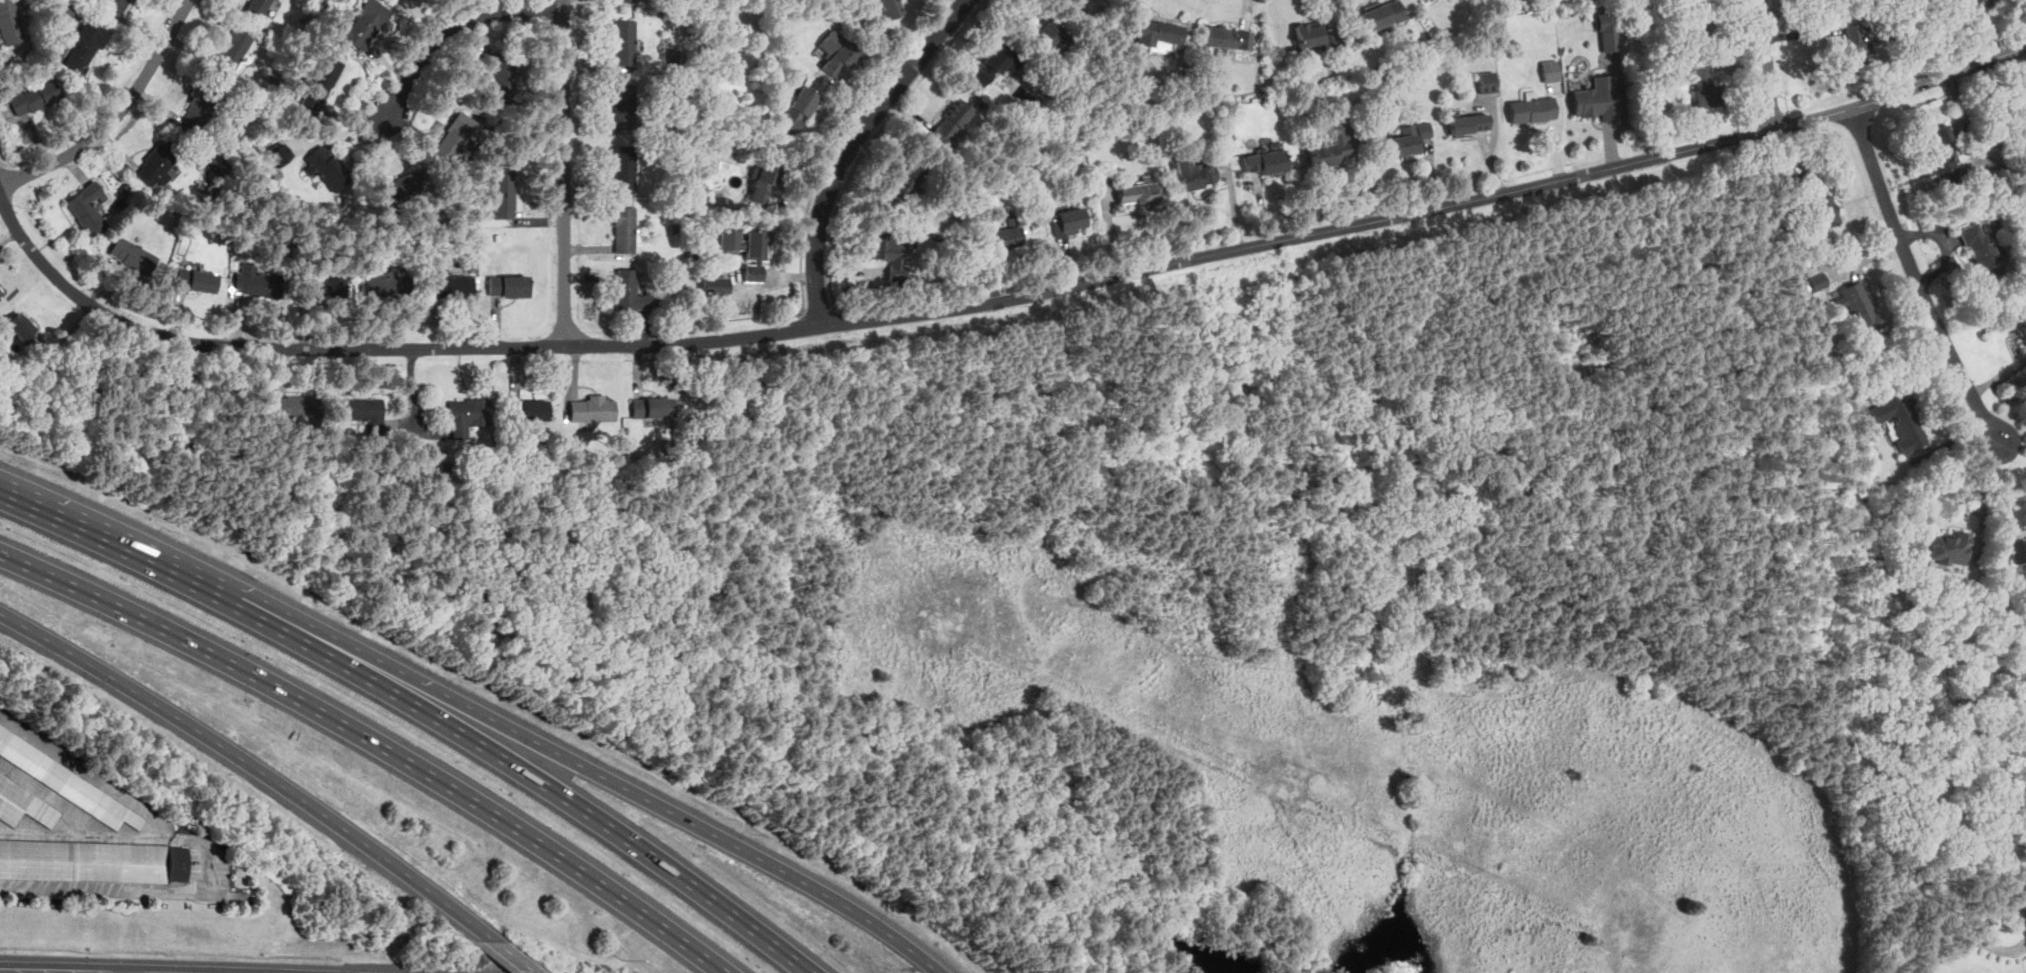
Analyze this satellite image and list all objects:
building: (624, 1)
building: (1833, 1)
building: (116, 4)
building: (257, 7)
building: (886, 7)
building: (64, 13)
building: (1381, 15)
building: (10, 22)
building: (1699, 22)
building: (365, 23)
road: (456, 28)
building: (1607, 30)
road: (1983, 30)
building: (1157, 32)
building: (1312, 33)
building: (1046, 34)
building: (1227, 37)
building: (624, 42)
building: (1854, 44)
building: (86, 46)
building: (232, 50)
building: (839, 58)
building: (993, 64)
road: (1766, 64)
building: (1549, 70)
building: (501, 74)
building: (1487, 81)
building: (320, 83)
building: (1703, 86)
building: (35, 97)
building: (1596, 98)
building: (624, 105)
building: (1531, 108)
building: (199, 109)
building: (799, 110)
road: (356, 114)
road: (119, 121)
building: (949, 122)
building: (1466, 123)
road: (409, 127)
road: (344, 133)
building: (455, 137)
building: (1410, 138)
road: (835, 143)
road: (868, 143)
road: (383, 145)
building: (1332, 145)
road: (849, 146)
building: (1942, 154)
building: (279, 155)
building: (1264, 161)
building: (157, 164)
building: (327, 166)
building: (624, 168)
road: (562, 173)
building: (1193, 174)
building: (905, 181)
building: (763, 182)
building: (404, 185)
building: (1141, 192)
building: (503, 193)
building: (1817, 199)
building: (88, 208)
building: (1068, 221)
building: (625, 229)
building: (1003, 236)
building: (747, 249)
building: (1981, 250)
building: (887, 253)
building: (131, 255)
building: (196, 279)
road: (1917, 279)
building: (1816, 280)
building: (255, 281)
building: (384, 284)
building: (508, 285)
building: (714, 285)
building: (451, 286)
building: (326, 287)
building: (1, 291)
building: (629, 291)
building: (0, 295)
road: (996, 300)
building: (1859, 305)
road: (834, 306)
road: (819, 308)
road: (804, 309)
building: (20, 326)
building: (2021, 326)
building: (297, 405)
building: (649, 407)
building: (361, 408)
building: (592, 408)
building: (528, 409)
building: (467, 415)
building: (1899, 418)
road: (2013, 442)
street lamp: (21, 462)
road: (1980, 498)
road: (2003, 500)
street lamp: (171, 529)
road: (84, 533)
building: (1949, 547)
building: (2017, 549)
street lamp: (317, 604)
road: (284, 610)
street lamp: (105, 624)
street lamp: (465, 682)
street lamp: (95, 686)
street lamp: (252, 699)
road: (375, 741)
road: (499, 756)
street lamp: (610, 757)
road: (253, 765)
street lamp: (230, 771)
road: (88, 773)
street lamp: (396, 779)
building: (65, 780)
building: (23, 804)
road: (671, 812)
street lamp: (753, 833)
road: (53, 834)
road: (209, 856)
building: (83, 860)
building: (178, 863)
street lamp: (362, 865)
street lamp: (892, 914)
road: (1954, 940)
road: (172, 951)
street lamp: (166, 954)
road: (513, 956)
street lamp: (624, 958)
road: (1934, 958)
street lamp: (337, 960)

